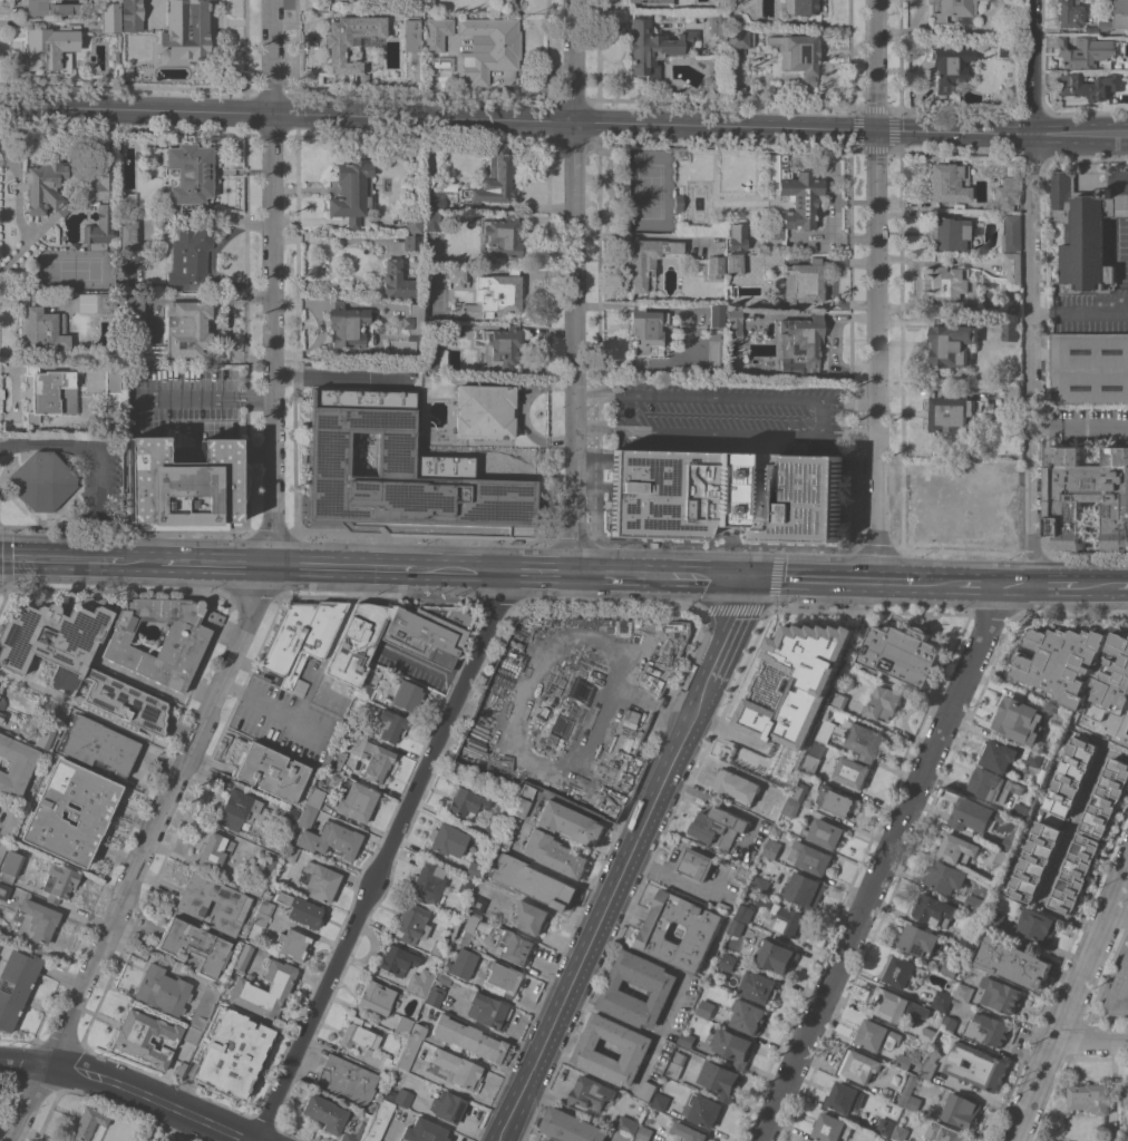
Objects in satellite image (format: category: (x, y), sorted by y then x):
building: (650, 0)
building: (505, 1)
building: (801, 6)
building: (50, 8)
building: (956, 11)
building: (1070, 13)
building: (1119, 13)
building: (133, 17)
building: (111, 18)
building: (432, 23)
building: (718, 25)
building: (1105, 25)
building: (1091, 29)
building: (186, 31)
building: (412, 35)
building: (347, 38)
building: (740, 38)
building: (49, 47)
building: (655, 47)
building: (1010, 49)
building: (495, 51)
building: (1085, 52)
building: (114, 53)
building: (799, 53)
road: (273, 56)
road: (572, 61)
building: (441, 64)
road: (876, 65)
building: (951, 66)
road: (1032, 66)
building: (1126, 75)
building: (1089, 85)
road: (137, 108)
road: (424, 117)
road: (801, 127)
traffic signals: (877, 129)
road: (1080, 133)
building: (123, 139)
building: (155, 150)
building: (106, 167)
building: (191, 174)
building: (493, 182)
building: (950, 182)
building: (46, 187)
building: (353, 189)
park: (650, 189)
building: (1008, 193)
building: (798, 196)
building: (436, 201)
building: (678, 203)
road: (537, 206)
building: (432, 221)
building: (414, 223)
building: (100, 228)
building: (1088, 230)
building: (128, 233)
building: (951, 233)
building: (1012, 233)
building: (503, 235)
building: (738, 237)
building: (414, 242)
building: (430, 245)
building: (191, 252)
building: (648, 260)
building: (136, 261)
building: (735, 264)
building: (716, 266)
building: (1014, 270)
building: (458, 276)
building: (400, 281)
building: (804, 282)
building: (952, 285)
building: (495, 295)
building: (99, 302)
building: (135, 304)
road: (1080, 308)
building: (414, 319)
building: (718, 319)
road: (320, 325)
building: (735, 325)
building: (350, 326)
building: (646, 326)
building: (46, 329)
building: (188, 329)
building: (1010, 329)
road: (276, 339)
building: (801, 344)
building: (952, 344)
building: (402, 347)
building: (503, 348)
road: (573, 348)
building: (762, 350)
building: (436, 353)
road: (877, 355)
road: (1033, 358)
building: (1089, 369)
road: (344, 376)
building: (113, 380)
road: (251, 391)
building: (51, 392)
road: (181, 397)
building: (1012, 398)
road: (849, 399)
road: (251, 402)
road: (823, 407)
building: (485, 411)
building: (953, 413)
road: (1080, 425)
road: (601, 428)
road: (849, 435)
road: (103, 455)
building: (400, 469)
building: (43, 480)
building: (184, 486)
building: (727, 495)
building: (1088, 496)
road: (70, 559)
road: (206, 564)
road: (347, 568)
road: (497, 572)
road: (659, 576)
traffic signals: (745, 578)
road: (810, 579)
road: (897, 582)
road: (937, 583)
road: (995, 584)
road: (1122, 584)
road: (1057, 585)
road: (1098, 585)
building: (430, 631)
road: (592, 634)
road: (728, 635)
building: (288, 636)
building: (54, 641)
building: (313, 641)
building: (358, 641)
building: (179, 650)
building: (904, 653)
building: (1078, 667)
building: (370, 681)
building: (818, 682)
building: (406, 693)
building: (840, 698)
building: (126, 701)
building: (884, 703)
building: (1, 704)
road: (275, 706)
building: (1020, 720)
building: (392, 725)
building: (47, 729)
building: (826, 730)
building: (865, 741)
building: (99, 744)
building: (999, 754)
building: (373, 759)
building: (1035, 759)
building: (337, 760)
building: (606, 762)
building: (809, 764)
building: (16, 765)
building: (271, 771)
building: (852, 772)
building: (1071, 777)
building: (994, 786)
building: (738, 787)
building: (799, 791)
building: (317, 797)
building: (1107, 799)
building: (523, 800)
building: (357, 801)
building: (466, 801)
building: (838, 801)
building: (240, 808)
building: (791, 808)
building: (70, 812)
building: (290, 815)
building: (975, 816)
building: (308, 817)
building: (570, 823)
building: (9, 825)
building: (720, 827)
building: (490, 831)
building: (508, 832)
building: (824, 832)
building: (331, 839)
building: (447, 839)
building: (3, 847)
building: (1008, 847)
road: (1063, 847)
building: (957, 848)
building: (772, 849)
building: (215, 850)
building: (290, 852)
building: (555, 854)
road: (145, 855)
building: (810, 857)
road: (385, 858)
building: (1035, 861)
road: (884, 862)
building: (271, 864)
building: (696, 864)
building: (10, 866)
building: (475, 869)
building: (743, 874)
building: (1076, 874)
building: (945, 877)
road: (675, 878)
building: (59, 881)
building: (321, 881)
building: (534, 881)
building: (428, 882)
building: (760, 882)
building: (255, 888)
building: (805, 891)
building: (731, 897)
building: (974, 903)
building: (477, 904)
building: (192, 905)
building: (265, 907)
building: (300, 909)
building: (935, 910)
building: (745, 913)
road: (604, 915)
building: (532, 917)
building: (259, 918)
building: (995, 918)
building: (37, 920)
building: (788, 920)
building: (412, 923)
building: (485, 925)
building: (1038, 925)
building: (466, 928)
building: (738, 928)
building: (702, 933)
building: (264, 937)
building: (970, 938)
building: (921, 940)
building: (0, 944)
building: (293, 944)
building: (194, 946)
building: (514, 946)
building: (438, 948)
building: (775, 956)
building: (243, 957)
building: (399, 959)
building: (1014, 962)
building: (463, 963)
building: (728, 963)
building: (950, 968)
building: (902, 972)
building: (444, 978)
building: (502, 978)
building: (16, 985)
building: (421, 986)
building: (759, 986)
building: (245, 987)
building: (660, 988)
building: (163, 989)
building: (964, 992)
building: (1119, 992)
building: (1002, 995)
building: (436, 996)
building: (377, 997)
building: (942, 999)
building: (204, 1005)
road: (1071, 1005)
building: (895, 1006)
building: (706, 1008)
building: (921, 1010)
building: (488, 1011)
building: (748, 1016)
building: (950, 1024)
building: (403, 1025)
building: (988, 1030)
building: (419, 1031)
building: (358, 1034)
building: (877, 1035)
building: (928, 1035)
building: (468, 1038)
building: (130, 1040)
building: (687, 1040)
road: (1091, 1043)
building: (735, 1047)
building: (638, 1049)
building: (233, 1053)
building: (414, 1054)
road: (25, 1060)
building: (904, 1062)
building: (930, 1063)
building: (677, 1064)
building: (387, 1065)
building: (857, 1065)
building: (978, 1066)
building: (181, 1069)
building: (457, 1072)
building: (347, 1080)
building: (720, 1080)
building: (649, 1091)
building: (594, 1093)
building: (1126, 1095)
building: (403, 1098)
building: (844, 1098)
road: (154, 1099)
building: (1091, 1100)
building: (660, 1101)
building: (914, 1102)
building: (448, 1106)
building: (962, 1110)
building: (642, 1111)
building: (704, 1111)
building: (325, 1113)
building: (379, 1120)
building: (88, 1122)
building: (628, 1125)
building: (572, 1127)
building: (885, 1127)
building: (830, 1128)
building: (359, 1130)
building: (424, 1131)
building: (643, 1132)
building: (689, 1132)
building: (943, 1133)
building: (900, 1134)
building: (626, 1137)
building: (1115, 1138)
building: (139, 1139)
building: (165, 1139)
building: (134, 1140)
building: (174, 1140)

